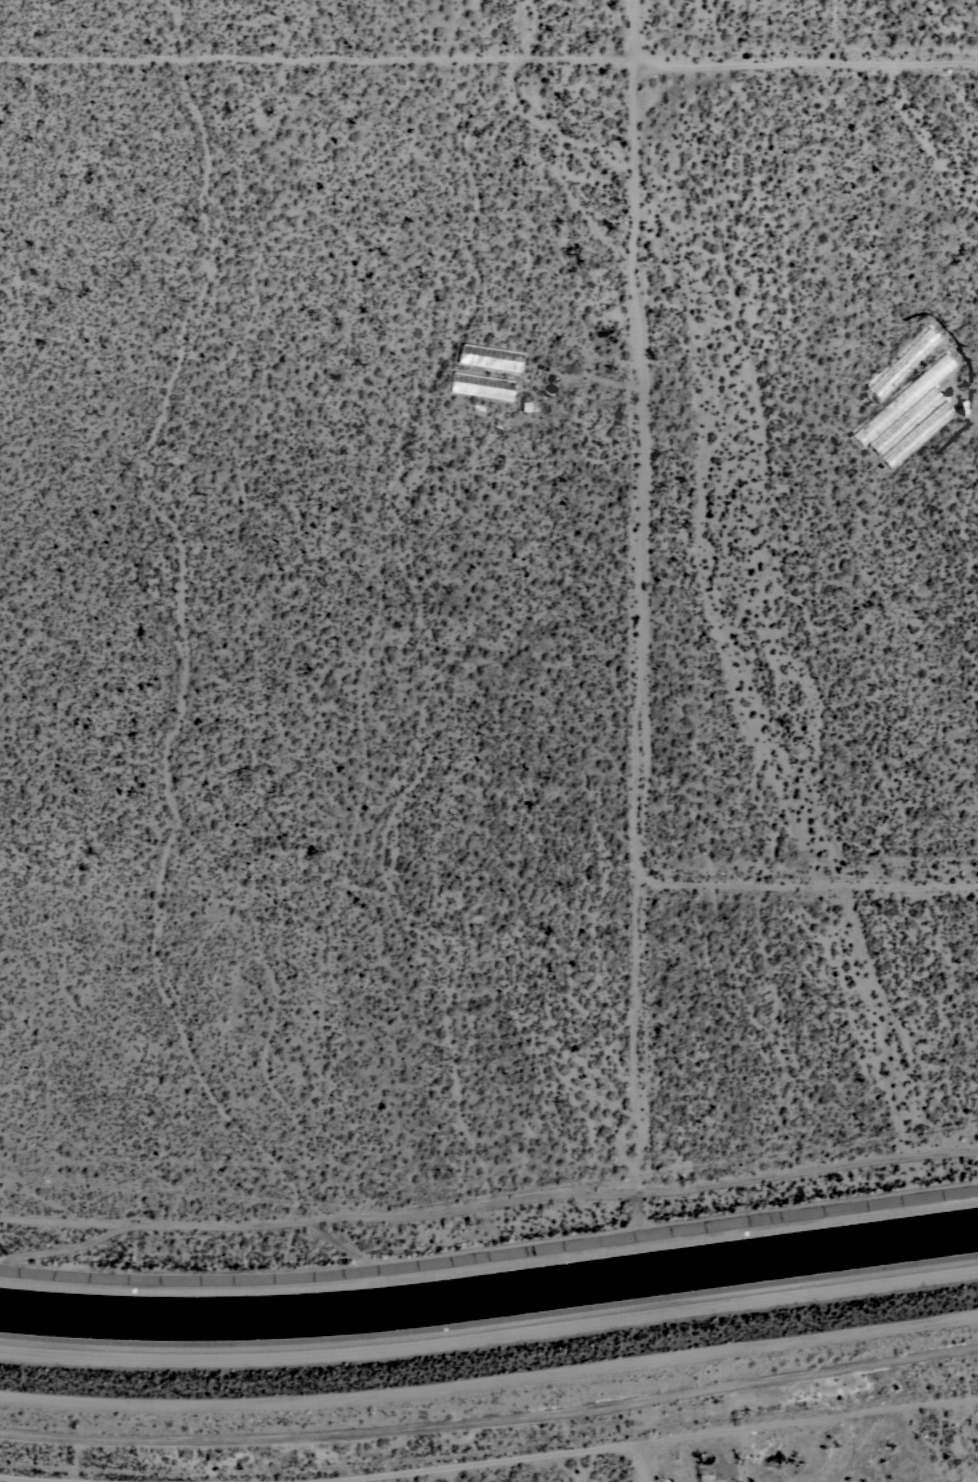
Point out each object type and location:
road: (489, 63)
road: (637, 595)
road: (807, 883)
road: (490, 1205)
road: (638, 1442)
road: (640, 1462)
building: (768, 1476)
building: (706, 1477)
road: (37, 1478)

